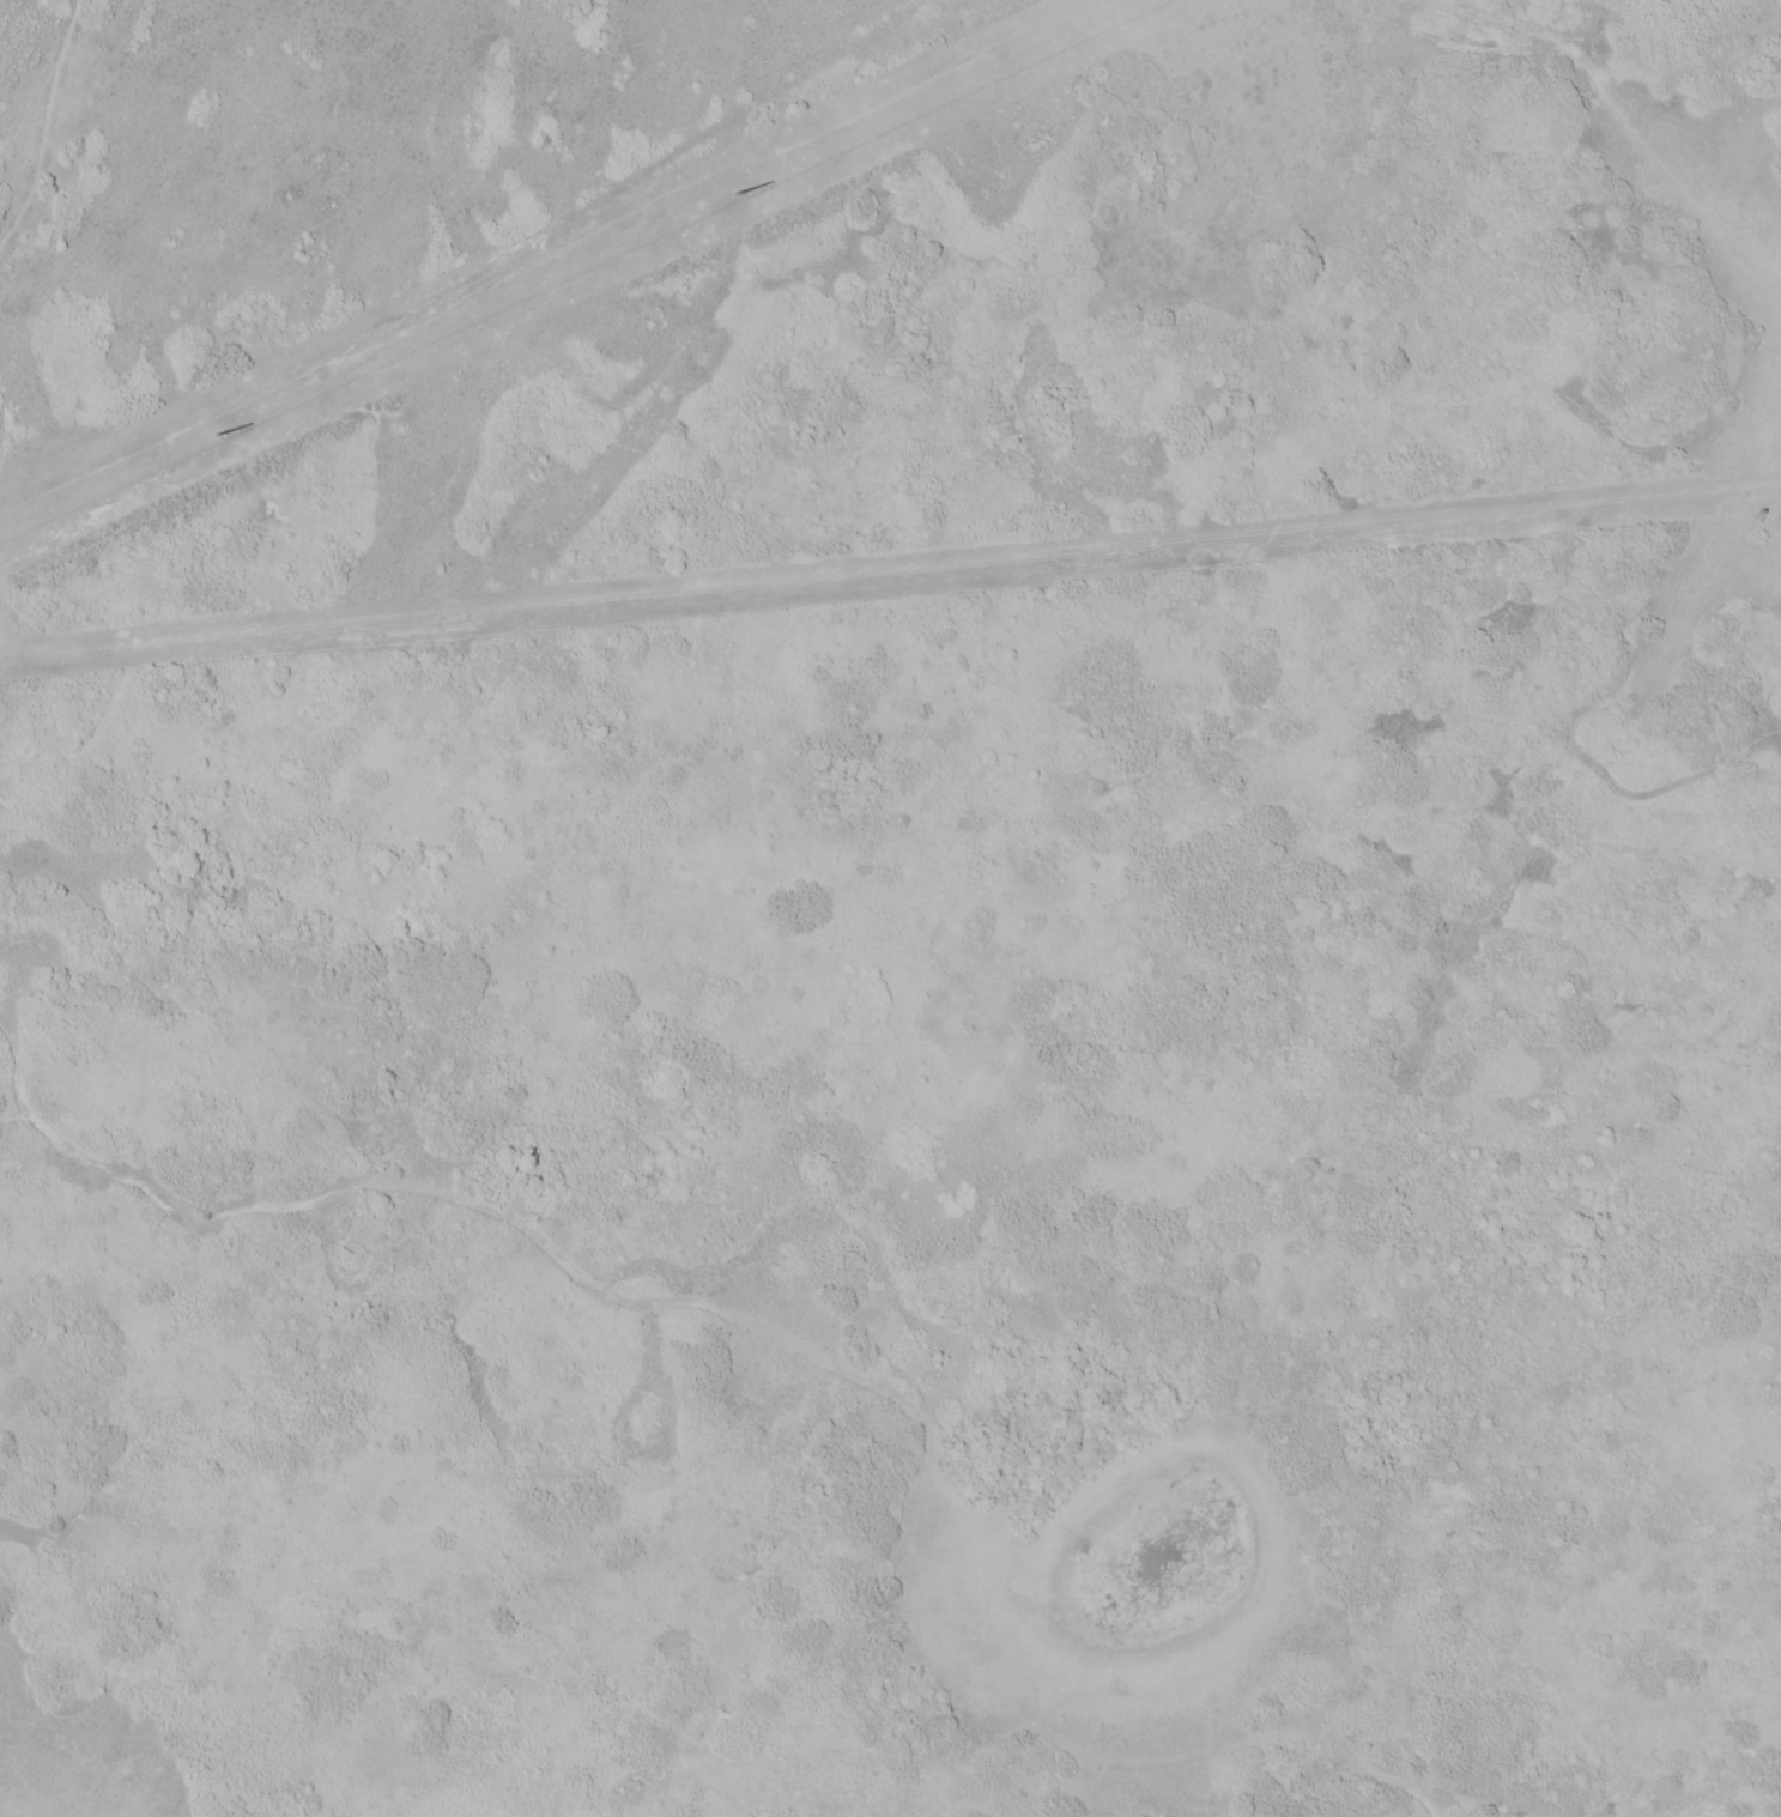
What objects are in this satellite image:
power tower: (734, 192)
power tower: (212, 435)

